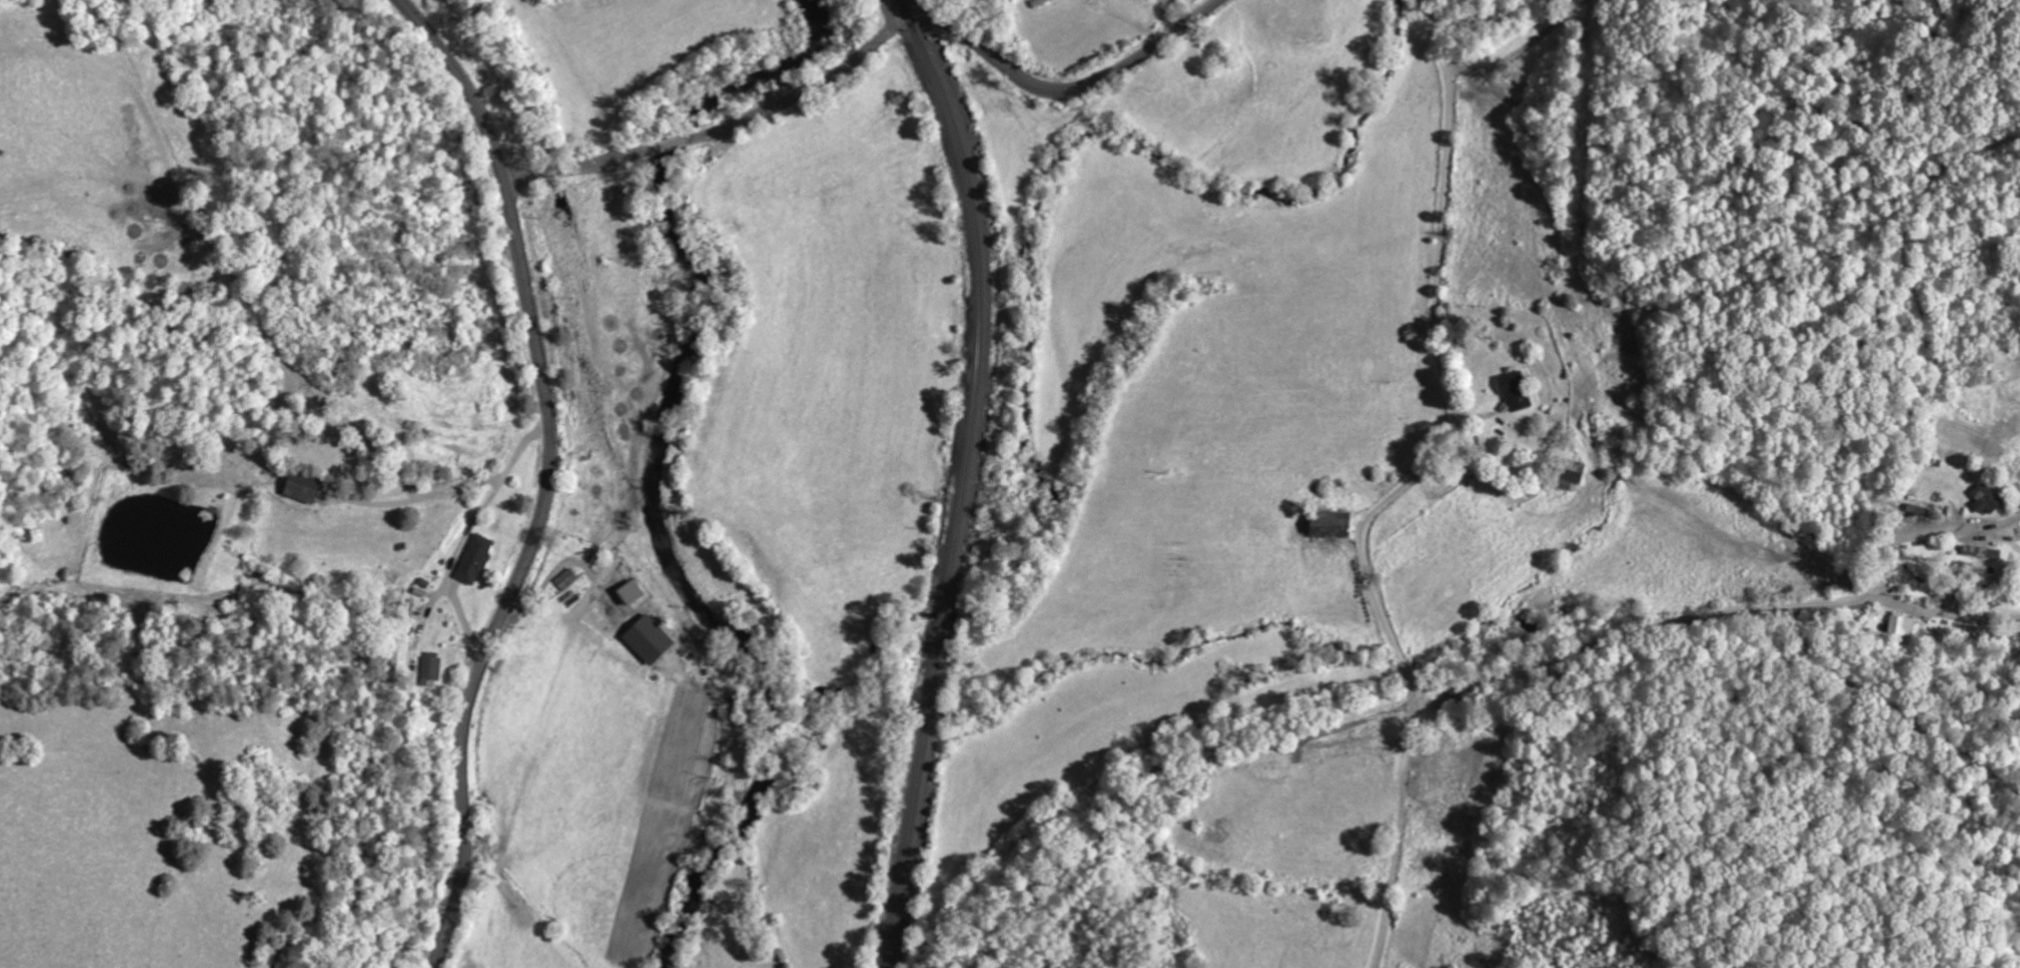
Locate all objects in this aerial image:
road: (895, 26)
road: (1543, 33)
road: (833, 56)
road: (527, 176)
building: (1514, 391)
road: (547, 476)
building: (1570, 476)
railway: (962, 478)
road: (1406, 485)
building: (302, 488)
building: (1987, 499)
building: (1329, 525)
road: (1883, 548)
building: (474, 559)
building: (566, 580)
building: (629, 592)
road: (1943, 612)
building: (1901, 624)
road: (1638, 633)
building: (648, 639)
building: (432, 666)

